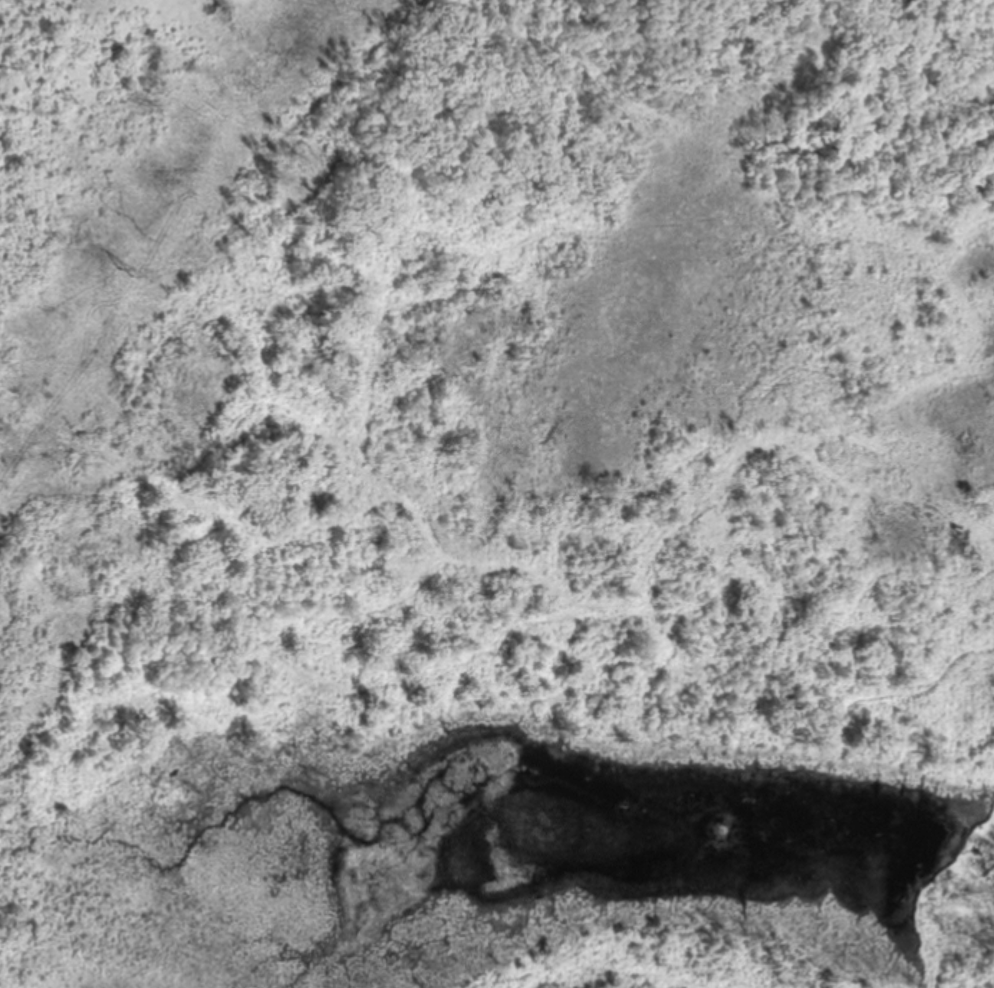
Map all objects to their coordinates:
power tower: (126, 272)

